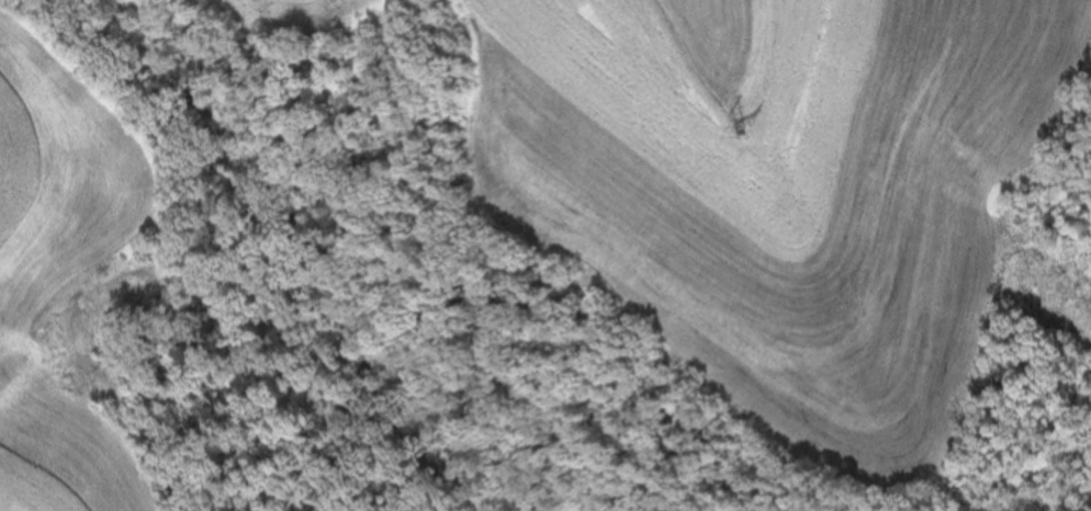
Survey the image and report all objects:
power tower: (740, 130)

